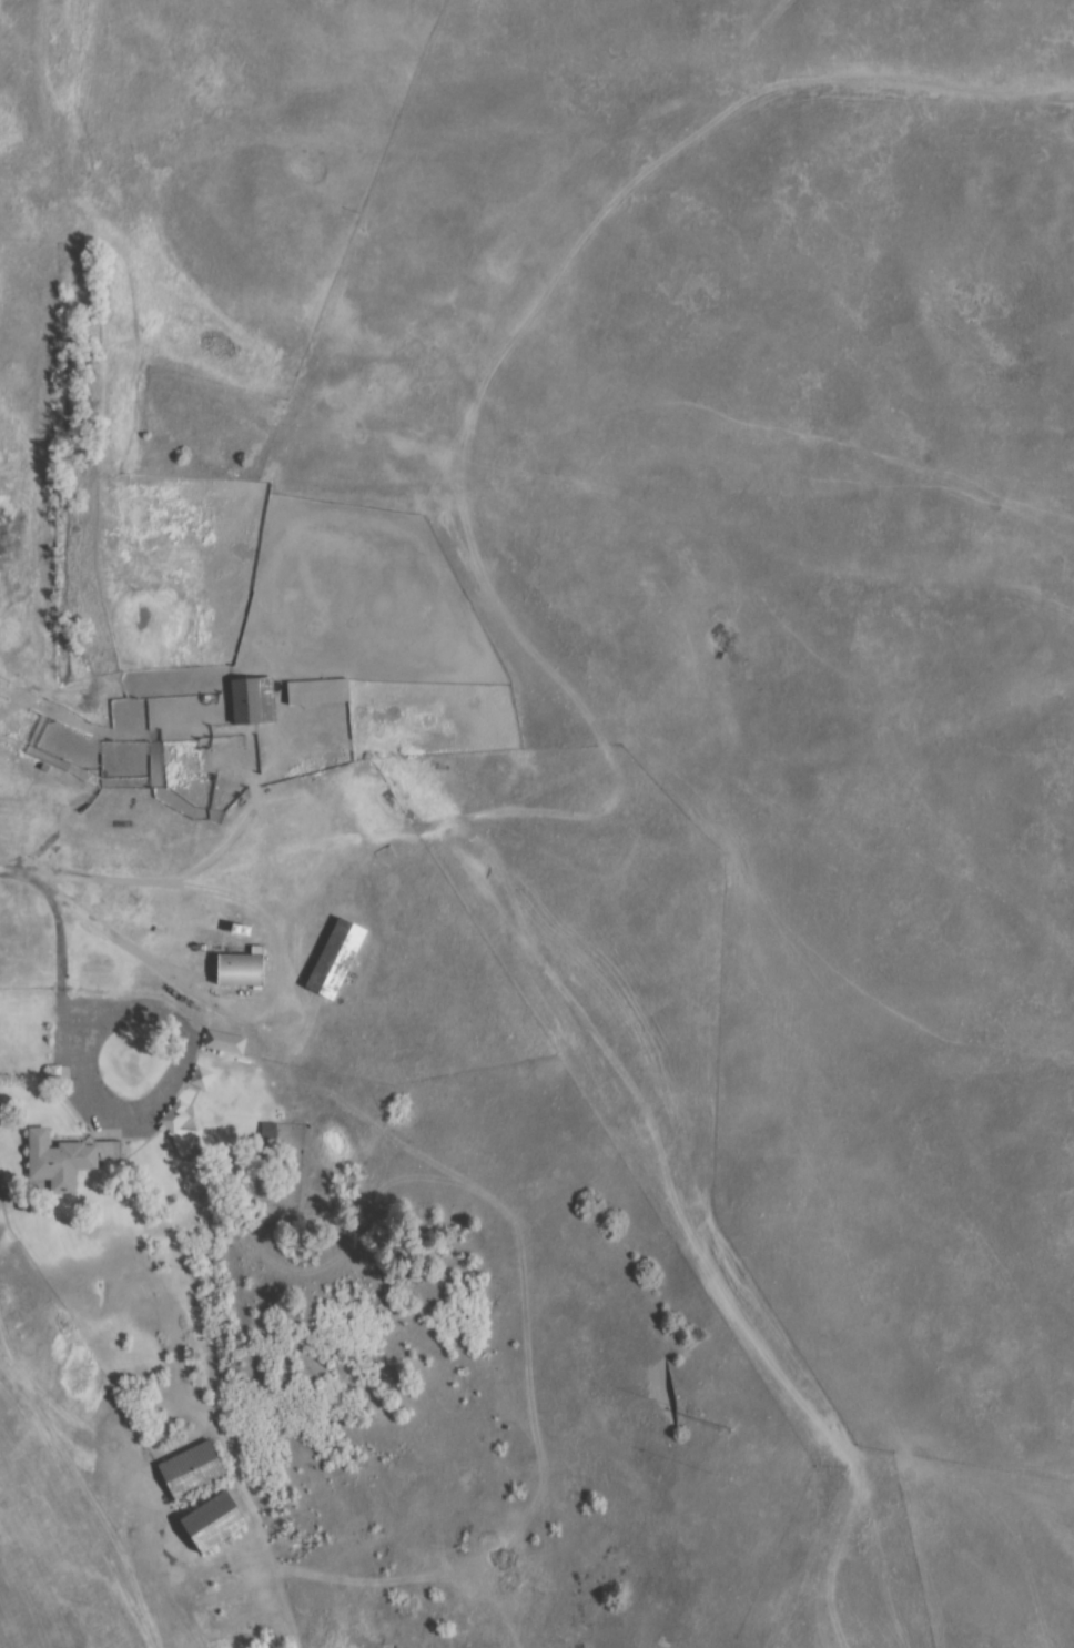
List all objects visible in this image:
building: (321, 690)
building: (253, 700)
road: (199, 892)
building: (338, 960)
building: (243, 968)
building: (227, 1042)
building: (204, 1078)
building: (272, 1131)
building: (190, 1141)
building: (55, 1161)
road: (67, 1411)
building: (195, 1469)
building: (215, 1521)

